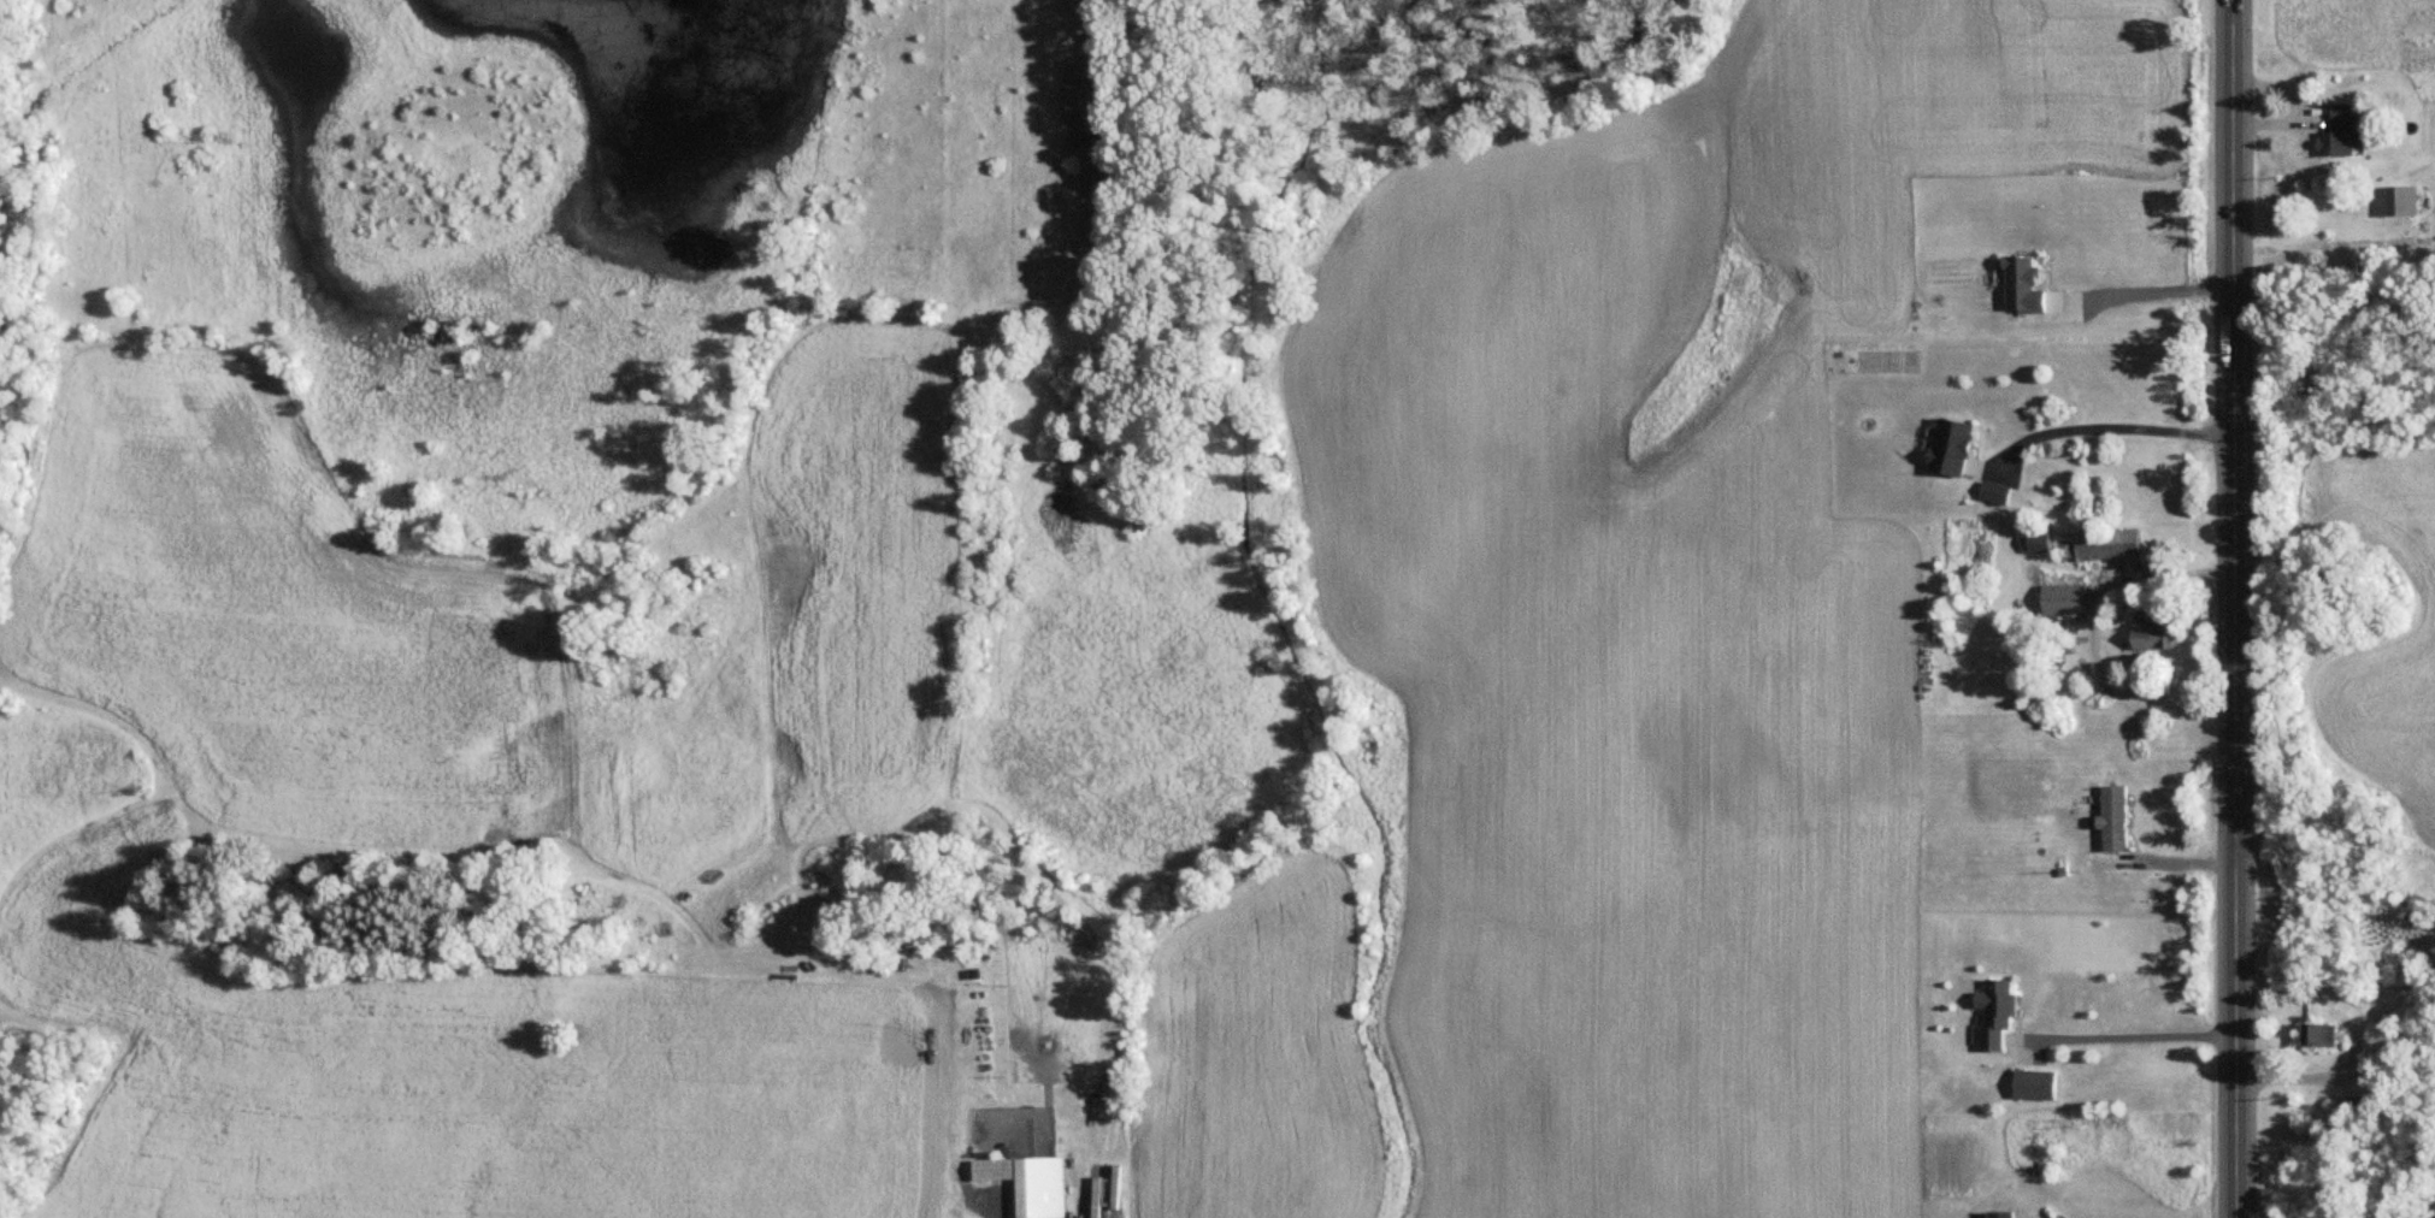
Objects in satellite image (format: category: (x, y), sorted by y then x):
building: (2342, 131)
building: (2396, 199)
road: (2144, 295)
road: (2111, 425)
building: (1956, 444)
building: (1998, 490)
building: (2040, 536)
building: (2110, 543)
building: (2066, 597)
road: (2240, 608)
building: (2158, 634)
building: (2115, 817)
building: (1999, 1011)
road: (2151, 1031)
building: (2322, 1034)
building: (2374, 1050)
road: (2307, 1078)
building: (2035, 1083)
building: (2359, 1102)
building: (1030, 1182)
building: (1999, 1214)

